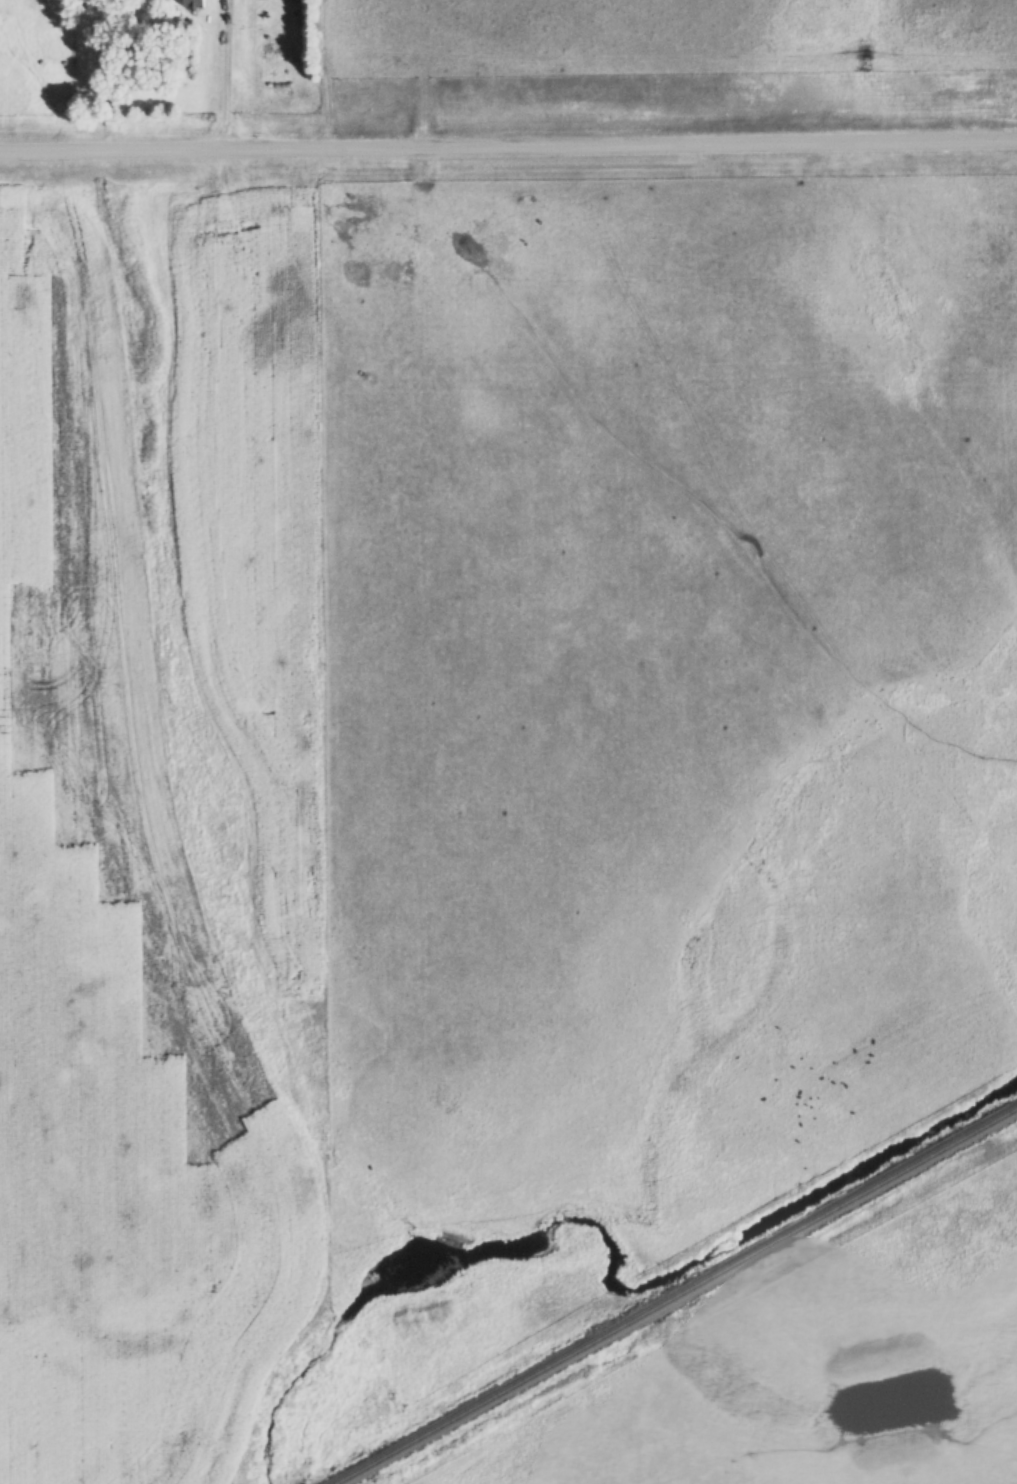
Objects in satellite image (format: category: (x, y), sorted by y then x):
building: (192, 0)
road: (508, 146)
railway: (678, 1298)

